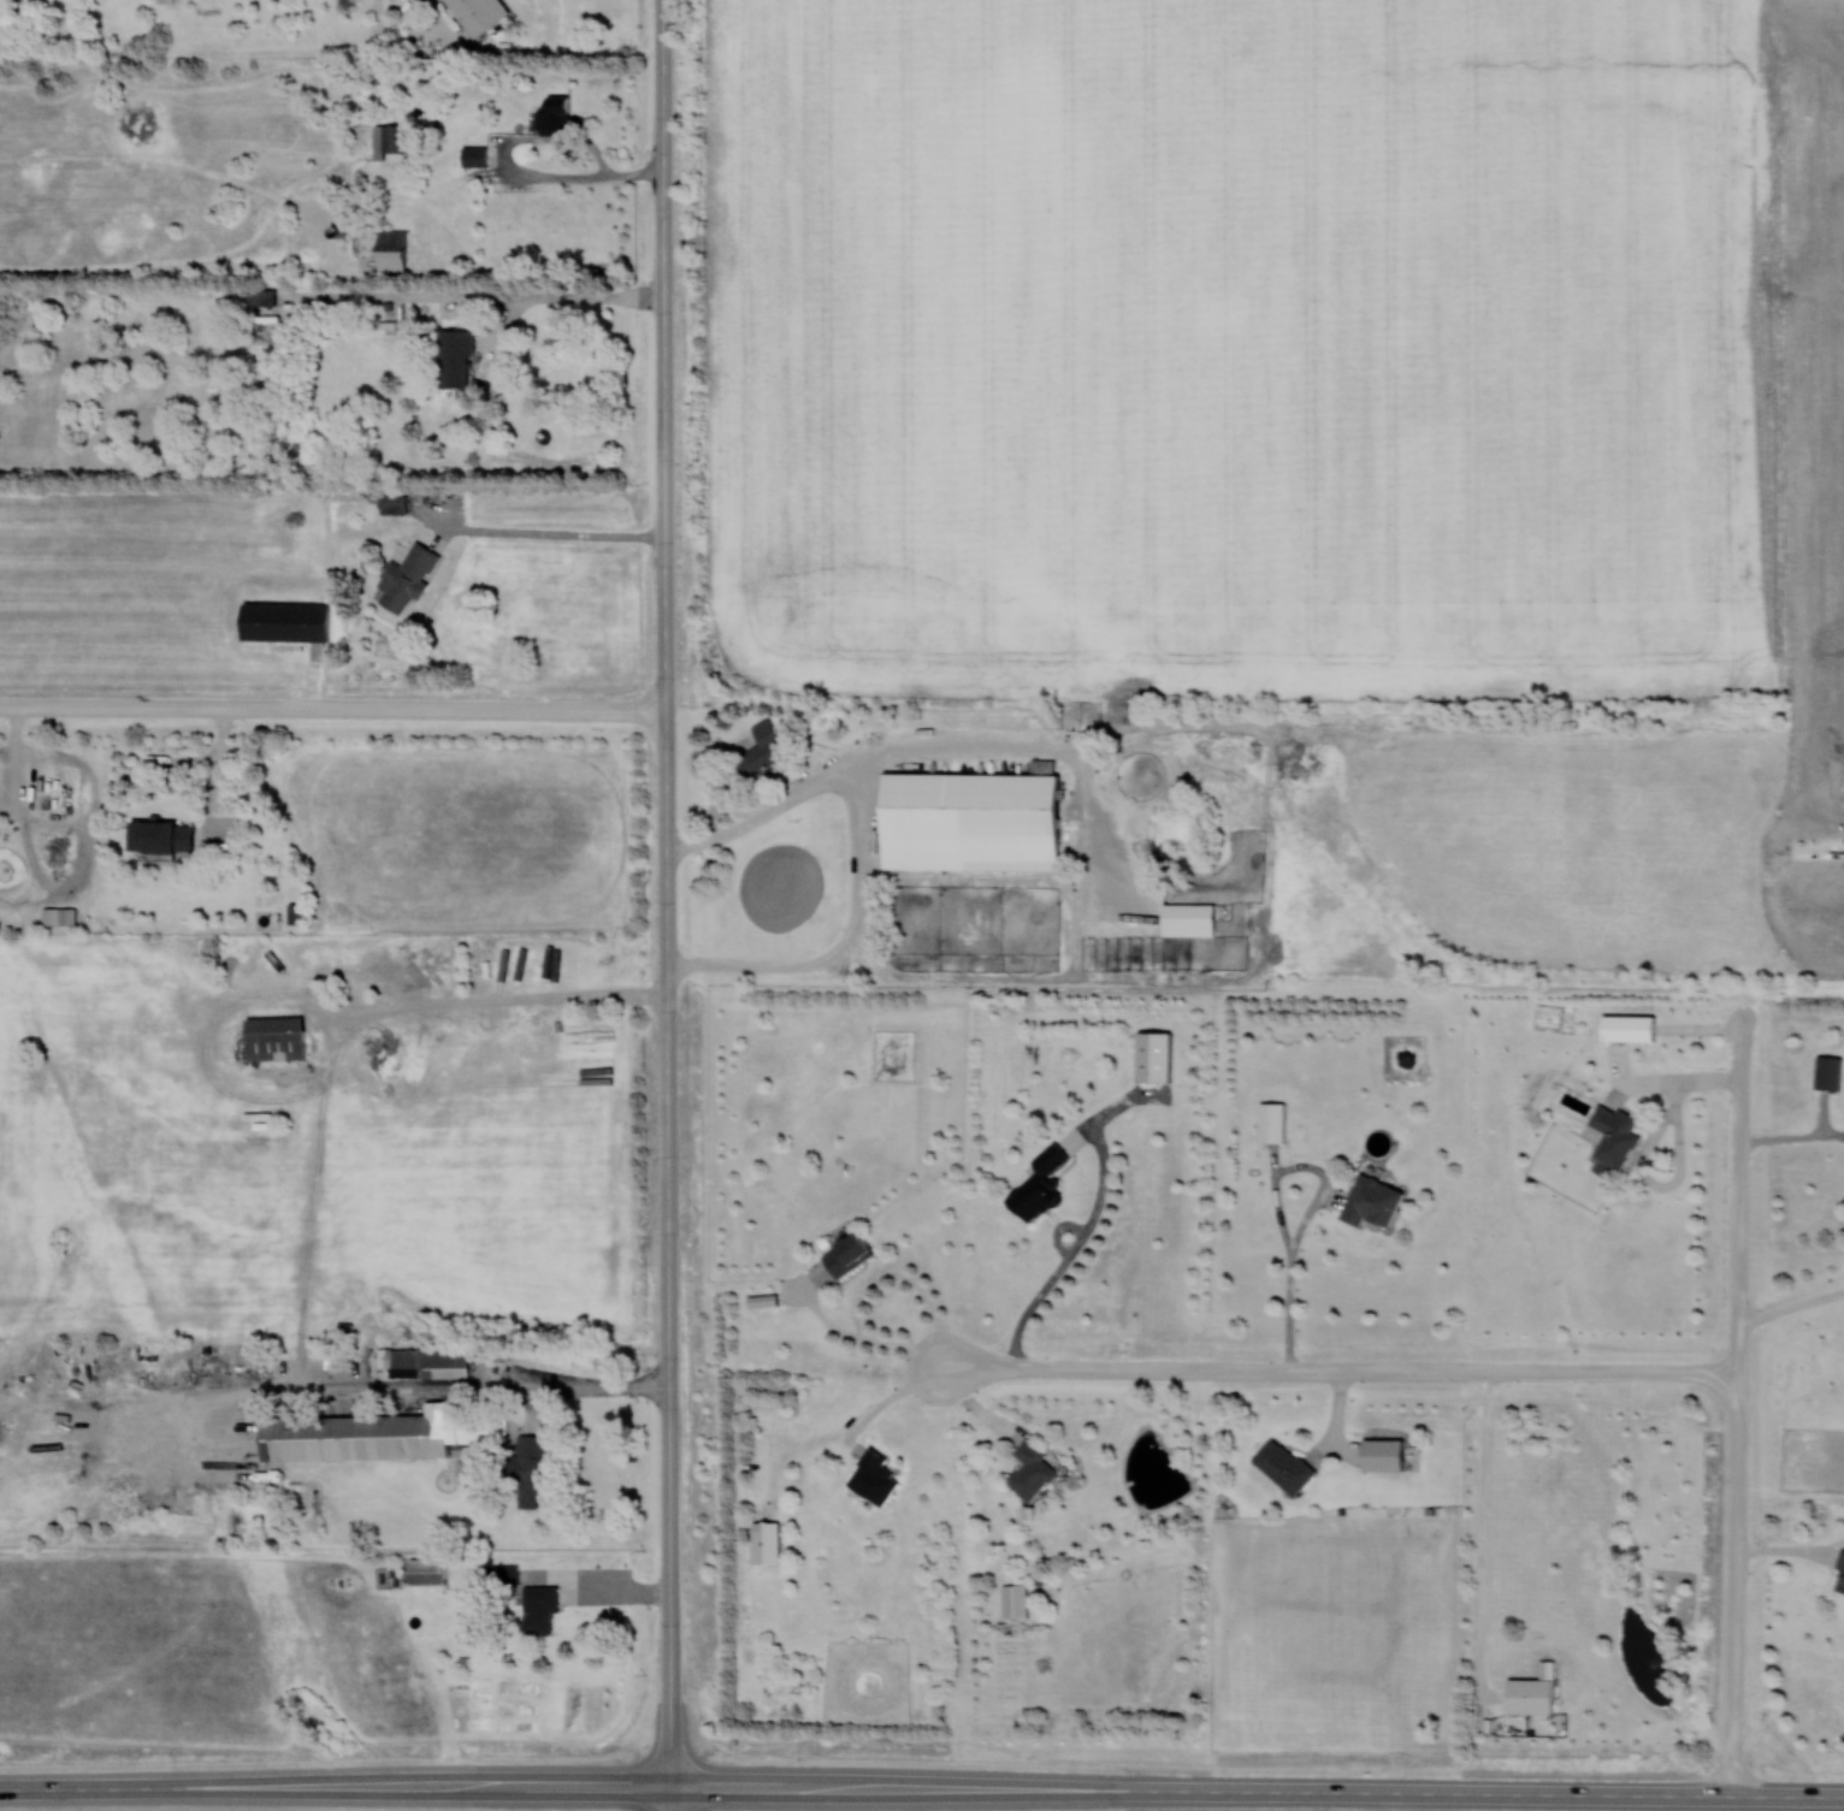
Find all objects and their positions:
building: (479, 13)
building: (555, 118)
building: (390, 141)
building: (475, 155)
road: (516, 167)
building: (383, 247)
building: (262, 296)
road: (567, 297)
building: (456, 356)
building: (394, 503)
road: (554, 533)
building: (407, 576)
building: (285, 621)
road: (332, 706)
building: (763, 748)
road: (16, 752)
building: (974, 819)
building: (162, 835)
road: (1820, 853)
road: (666, 893)
building: (294, 912)
building: (60, 916)
building: (1189, 918)
park: (1809, 982)
road: (496, 1000)
building: (1629, 1026)
building: (276, 1037)
building: (1154, 1055)
building: (1828, 1072)
building: (1272, 1121)
road: (1792, 1136)
building: (1613, 1138)
road: (1644, 1154)
building: (1040, 1184)
building: (1372, 1201)
road: (1277, 1203)
road: (1074, 1251)
building: (849, 1254)
road: (870, 1283)
road: (1791, 1304)
building: (425, 1361)
road: (1338, 1371)
road: (590, 1387)
road: (1738, 1395)
building: (373, 1434)
building: (1383, 1454)
building: (1284, 1464)
building: (532, 1469)
building: (1032, 1470)
building: (875, 1478)
road: (1483, 1531)
building: (766, 1541)
building: (427, 1570)
building: (1840, 1570)
building: (507, 1575)
road: (607, 1579)
building: (1016, 1600)
building: (539, 1608)
building: (1533, 1691)
road: (336, 1788)
road: (1258, 1792)
road: (673, 1799)

